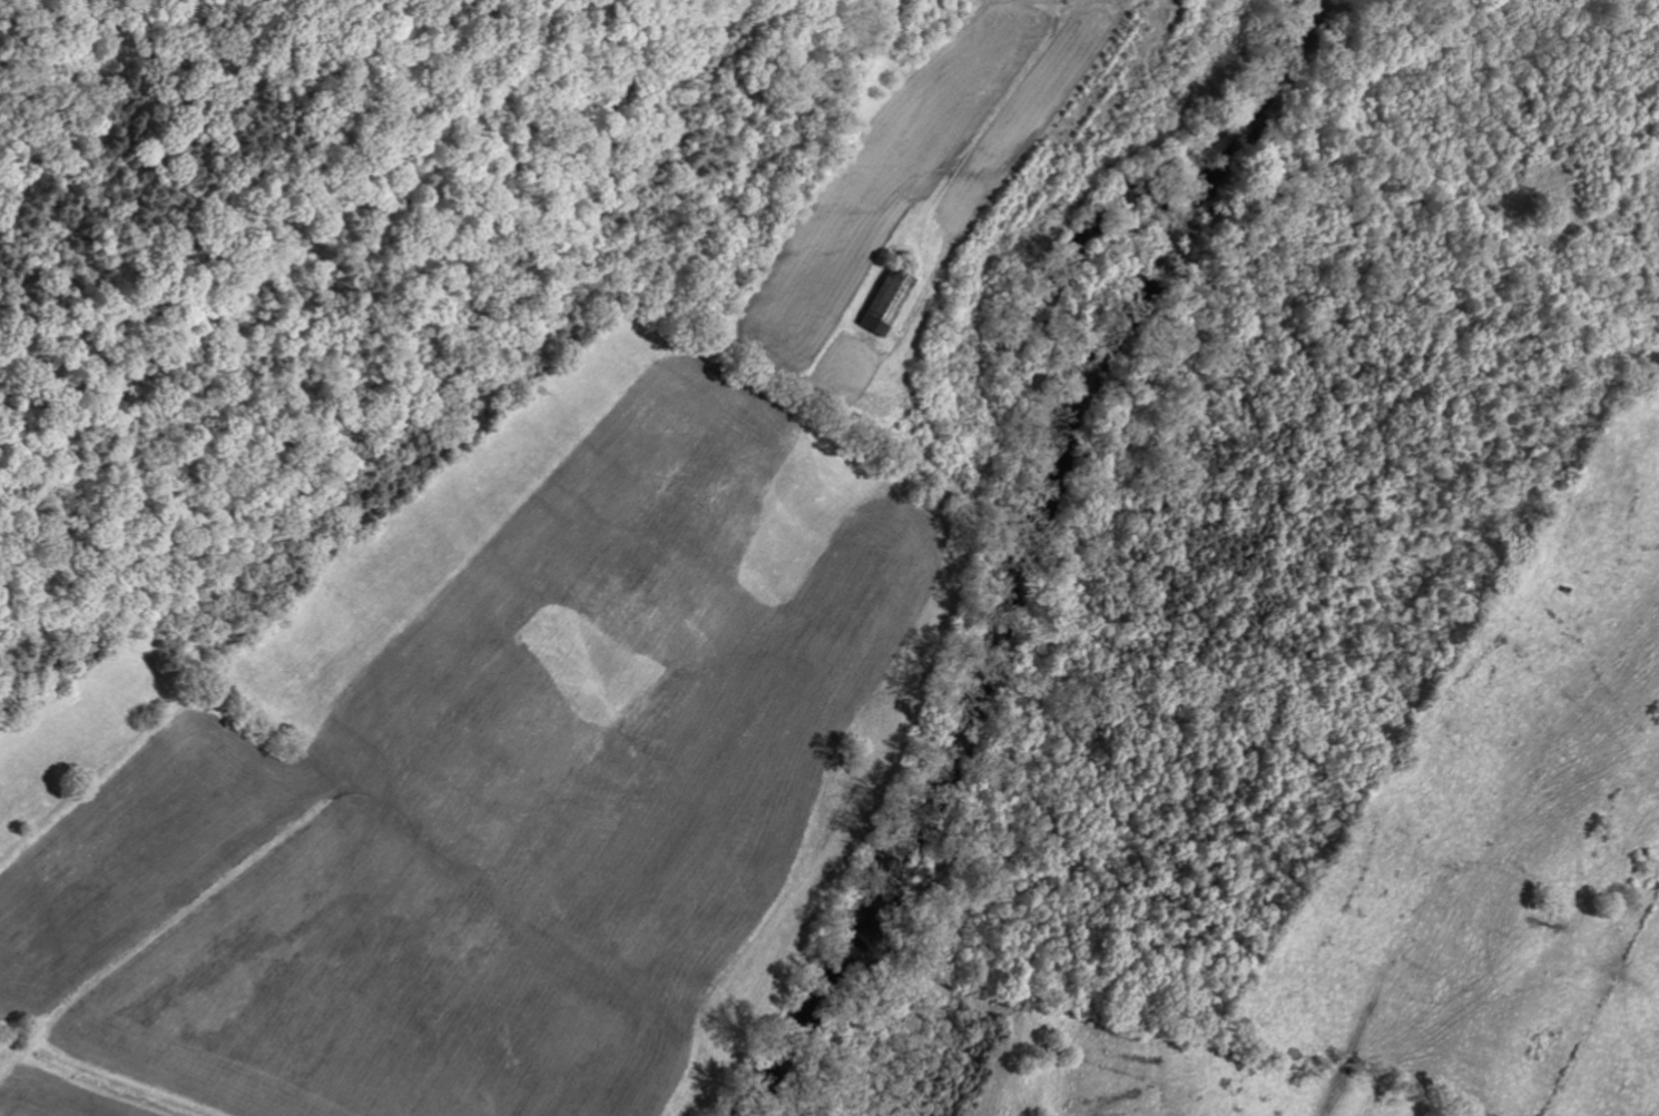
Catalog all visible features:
building: (882, 303)

